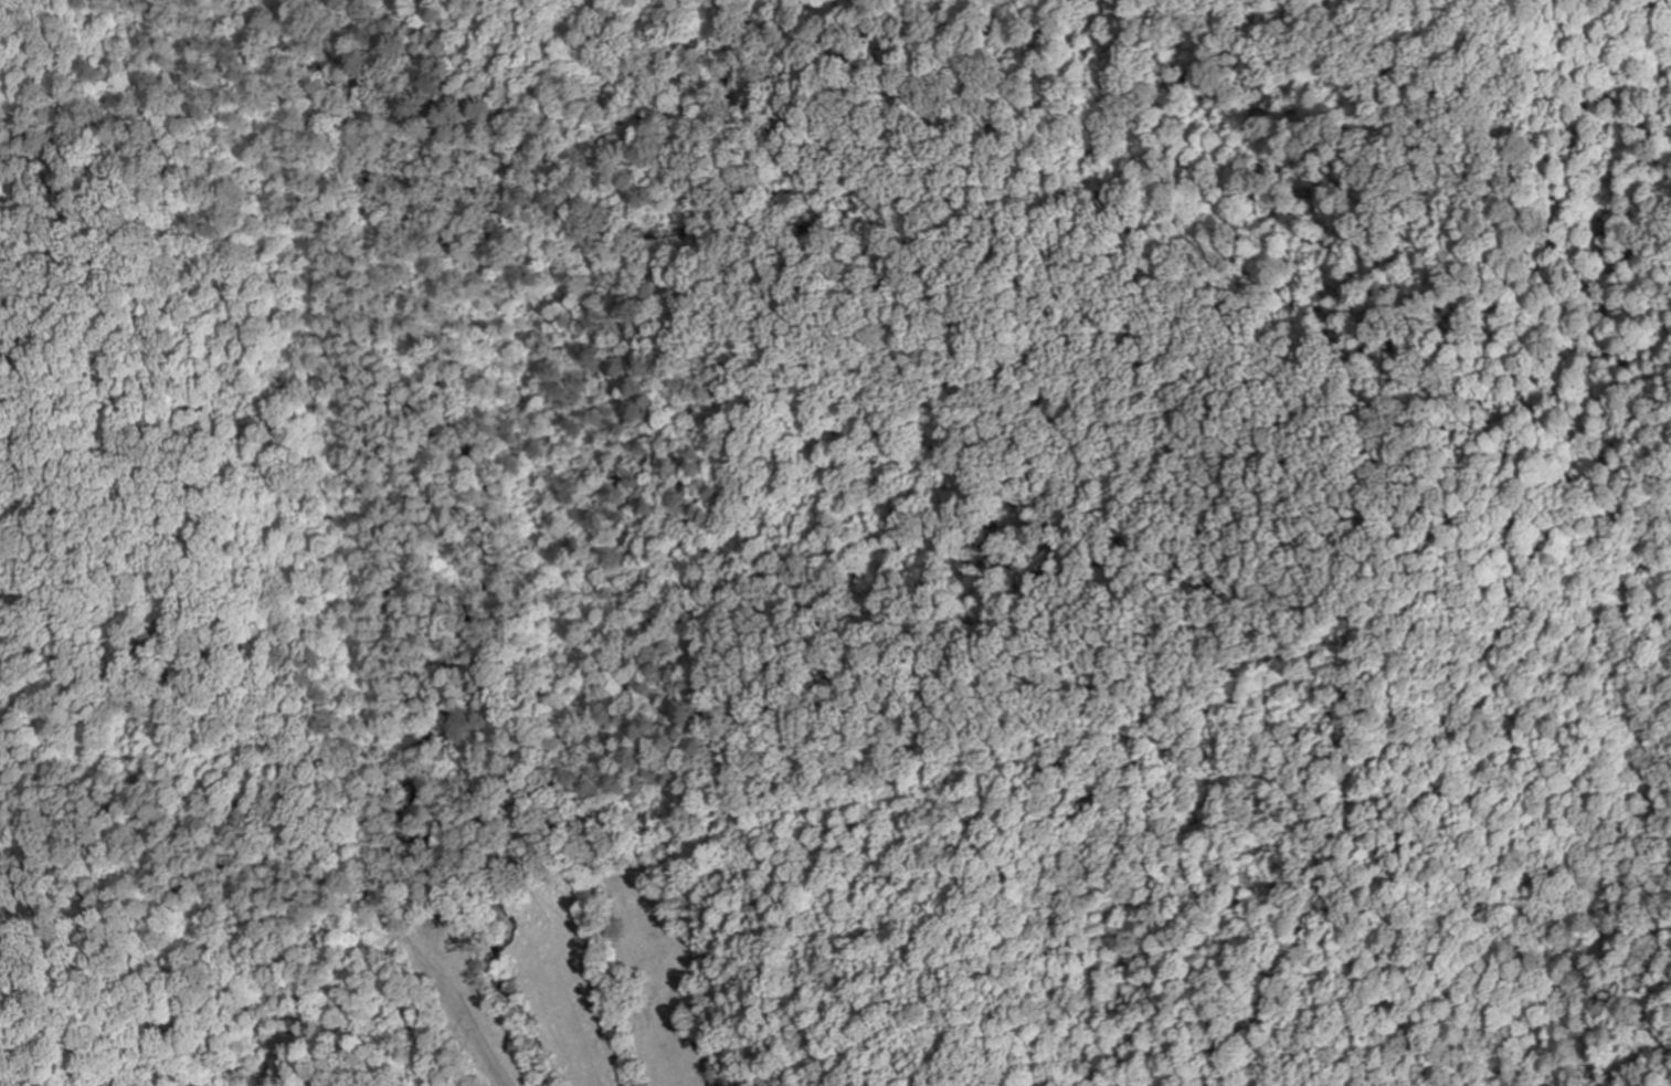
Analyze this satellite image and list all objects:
road: (292, 893)

